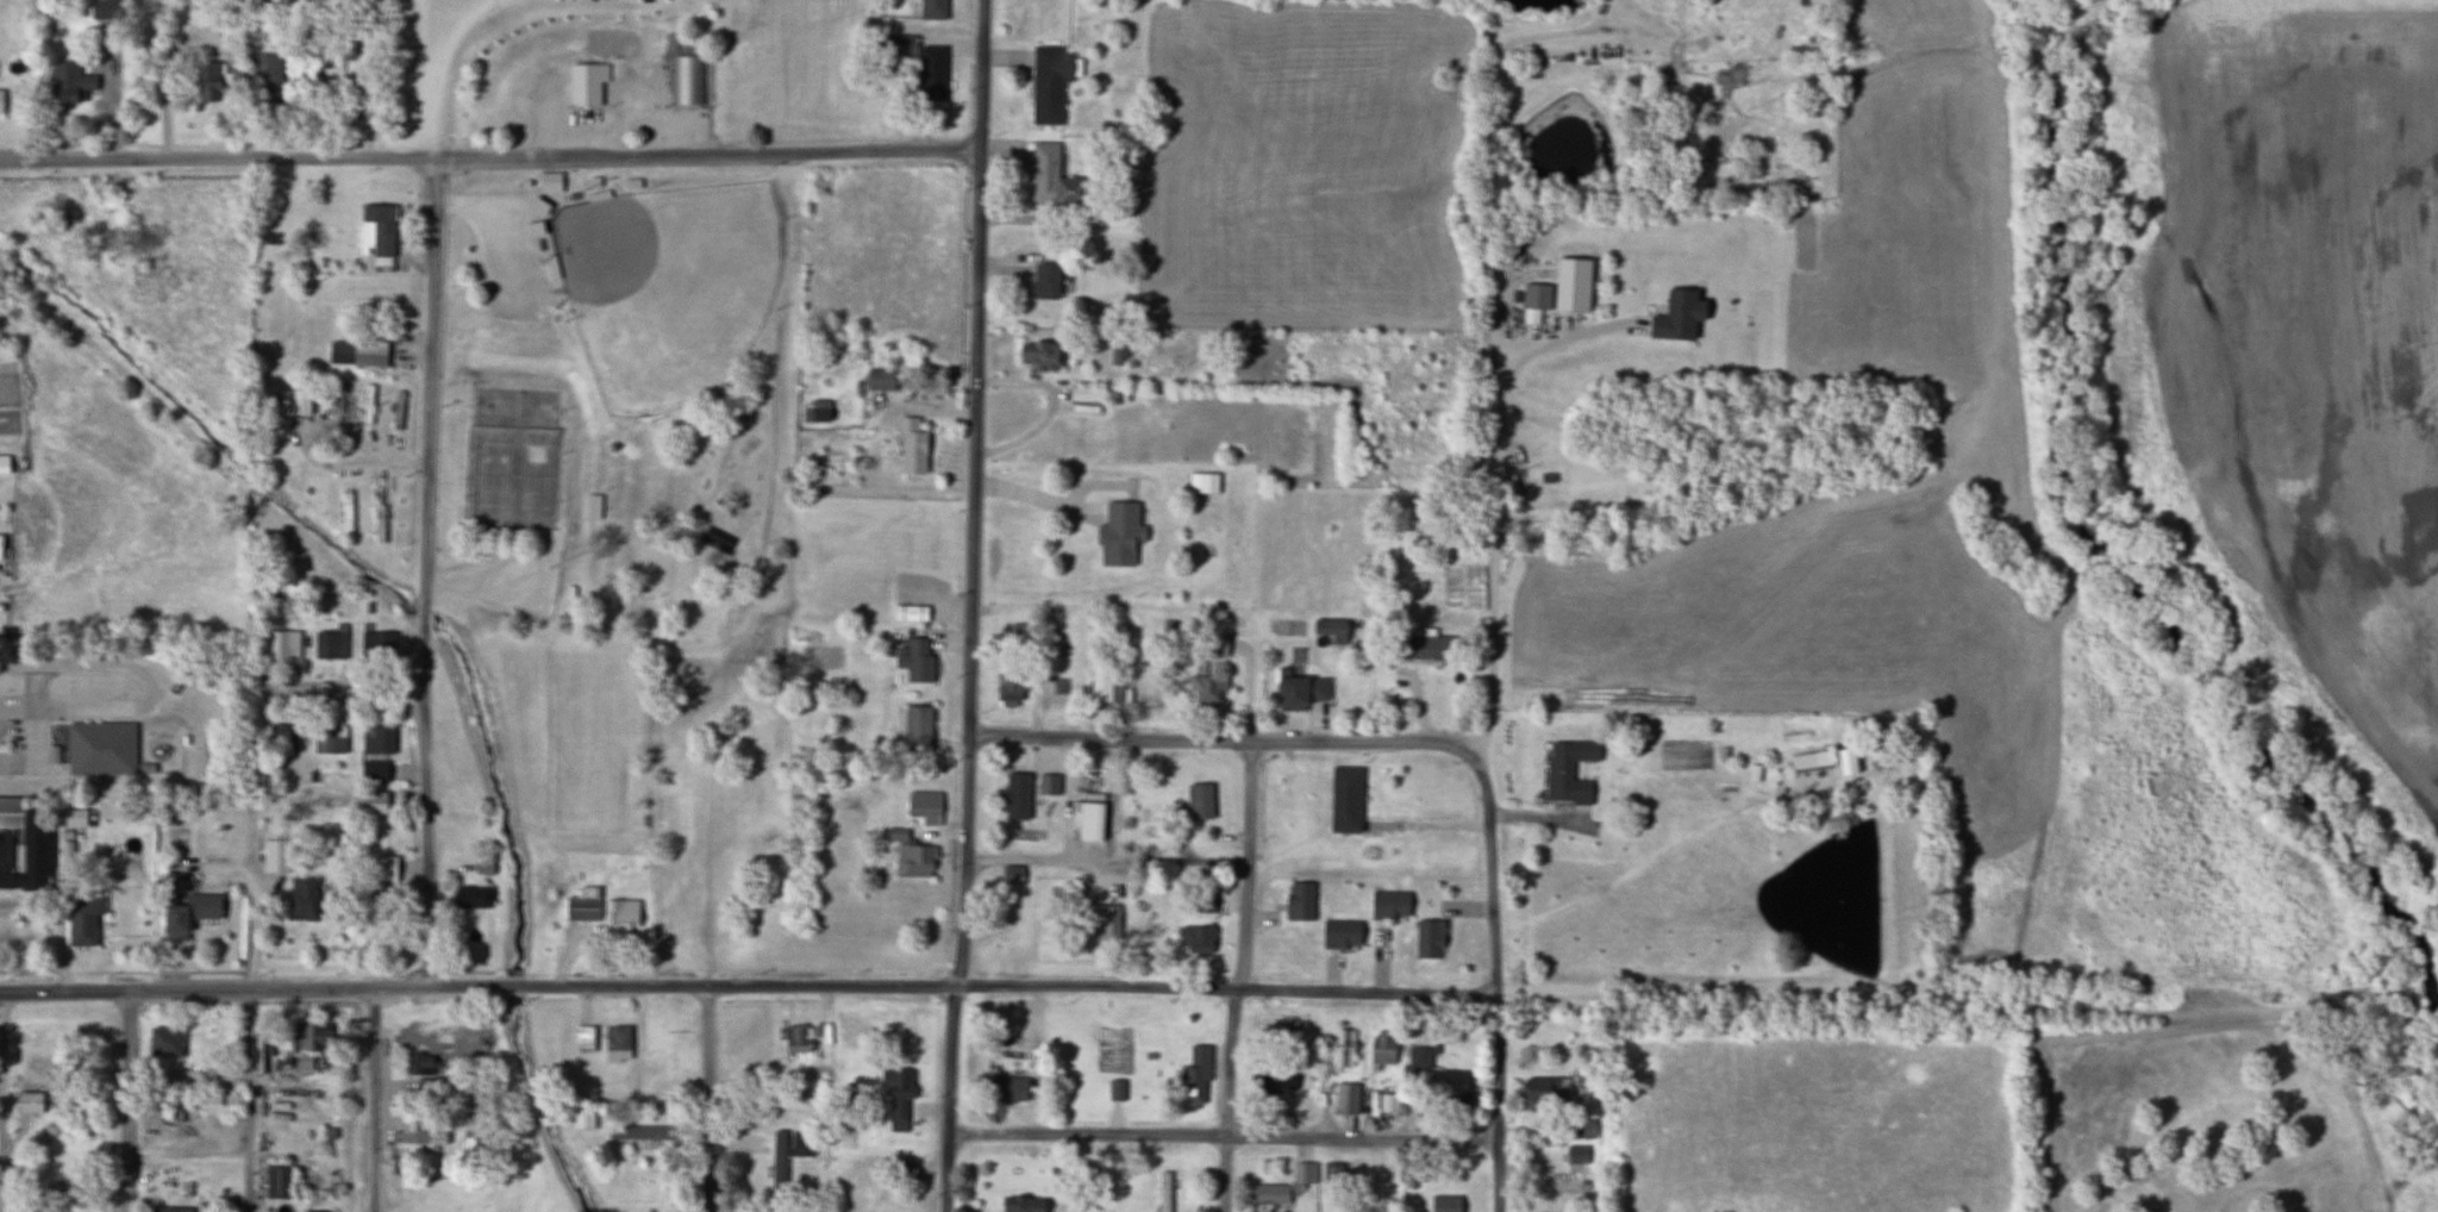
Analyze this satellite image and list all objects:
building: (932, 8)
building: (108, 10)
building: (887, 45)
building: (931, 73)
building: (269, 75)
building: (207, 80)
building: (686, 80)
building: (68, 82)
building: (1049, 82)
building: (586, 83)
building: (339, 96)
building: (1, 100)
road: (488, 157)
building: (1051, 179)
building: (549, 182)
building: (377, 235)
building: (1043, 281)
building: (1570, 283)
park: (665, 285)
building: (1536, 295)
building: (356, 354)
building: (1040, 355)
building: (880, 379)
road: (361, 385)
park: (619, 394)
building: (338, 399)
park: (518, 400)
building: (299, 401)
building: (368, 404)
building: (398, 411)
building: (818, 411)
building: (911, 446)
building: (4, 464)
park: (515, 468)
building: (1207, 483)
building: (593, 507)
building: (346, 513)
building: (379, 516)
building: (1118, 535)
road: (1493, 541)
building: (0, 546)
road: (430, 571)
building: (575, 591)
road: (969, 606)
building: (638, 610)
building: (909, 614)
building: (1331, 630)
building: (376, 643)
building: (330, 644)
building: (1213, 646)
building: (282, 648)
building: (915, 661)
building: (1104, 685)
building: (1442, 687)
building: (1007, 689)
building: (1204, 692)
building: (1299, 693)
building: (917, 724)
building: (329, 739)
building: (376, 739)
road: (1224, 741)
building: (102, 746)
building: (1809, 761)
road: (260, 771)
building: (373, 771)
building: (1567, 771)
building: (1049, 786)
building: (1015, 796)
building: (1344, 800)
building: (369, 802)
building: (1198, 802)
building: (924, 807)
building: (1087, 823)
building: (23, 843)
building: (275, 856)
road: (1108, 858)
building: (912, 861)
building: (386, 869)
building: (1012, 876)
building: (473, 898)
building: (302, 899)
building: (1299, 902)
building: (1204, 905)
building: (583, 906)
building: (1388, 906)
building: (187, 916)
building: (619, 919)
building: (81, 922)
building: (1105, 923)
building: (1339, 935)
building: (1196, 939)
building: (1427, 939)
road: (1243, 976)
road: (748, 983)
road: (1494, 986)
building: (163, 1042)
building: (308, 1042)
building: (656, 1043)
building: (617, 1044)
building: (795, 1045)
building: (1381, 1049)
building: (1340, 1050)
building: (1415, 1062)
building: (418, 1064)
building: (1193, 1079)
building: (1271, 1079)
building: (1452, 1089)
building: (1009, 1091)
building: (1534, 1092)
road: (711, 1098)
building: (898, 1098)
road: (374, 1099)
road: (250, 1100)
building: (1344, 1100)
road: (2, 1102)
building: (29, 1102)
road: (129, 1102)
building: (1388, 1104)
building: (220, 1105)
building: (582, 1119)
building: (1580, 1129)
building: (639, 1132)
road: (1223, 1133)
building: (418, 1138)
building: (786, 1154)
building: (1576, 1155)
building: (905, 1170)
building: (1304, 1176)
building: (1332, 1176)
building: (58, 1181)
building: (276, 1182)
building: (1163, 1192)
building: (1269, 1194)
building: (1444, 1204)
building: (1021, 1205)
building: (168, 1210)

